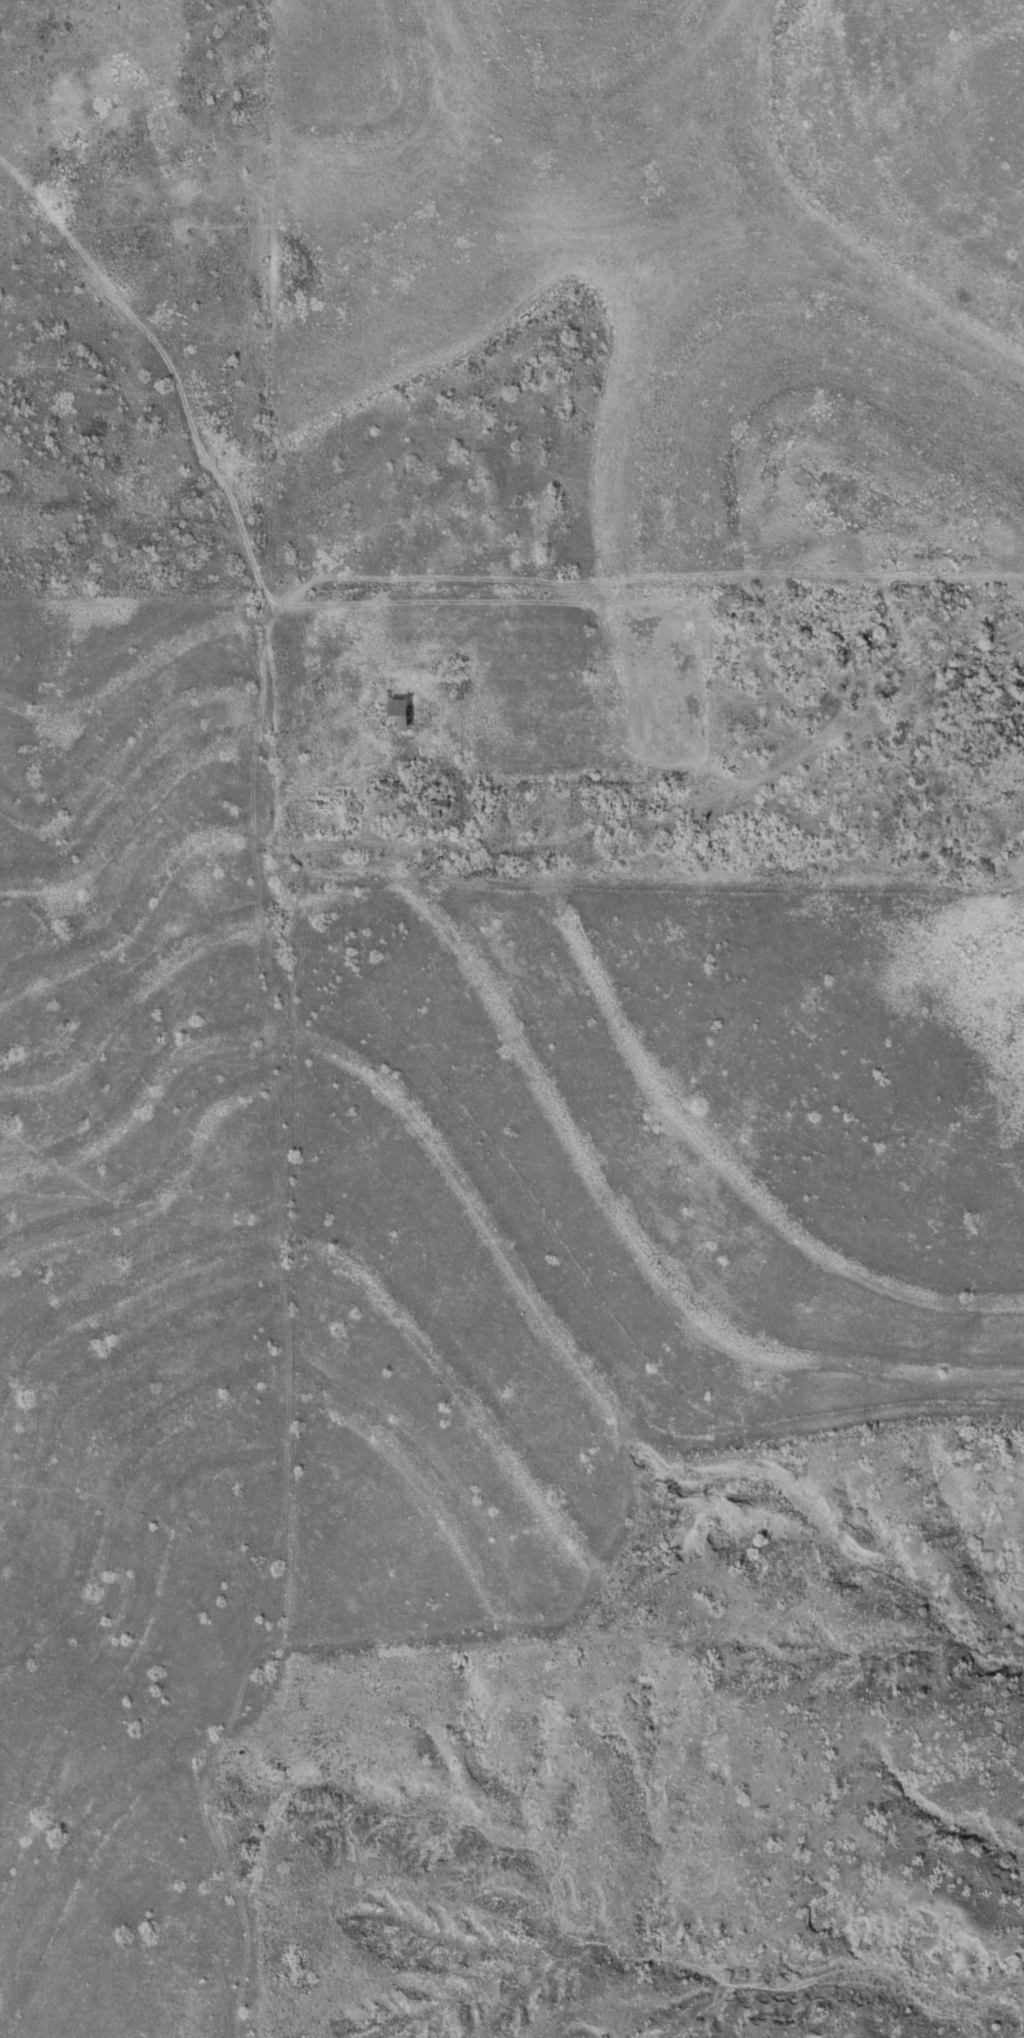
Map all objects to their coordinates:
building: (407, 712)
road: (265, 733)

